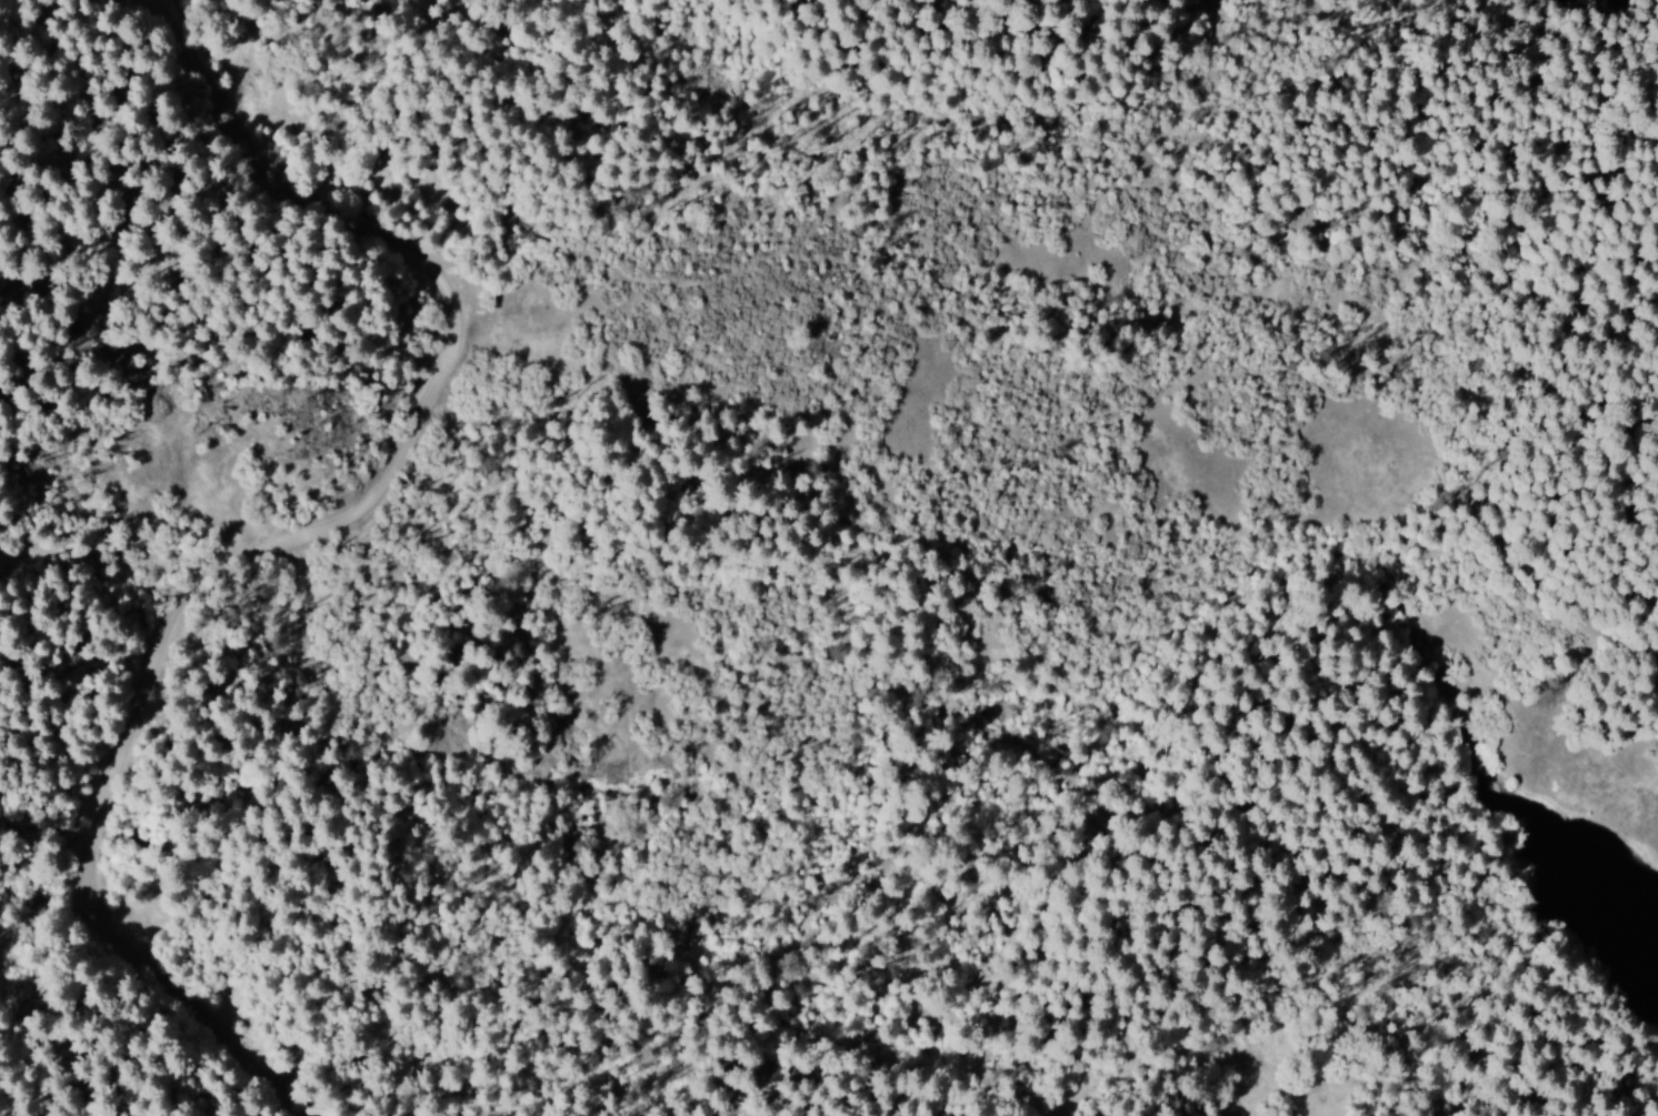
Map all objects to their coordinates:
road: (800, 52)
road: (346, 541)

